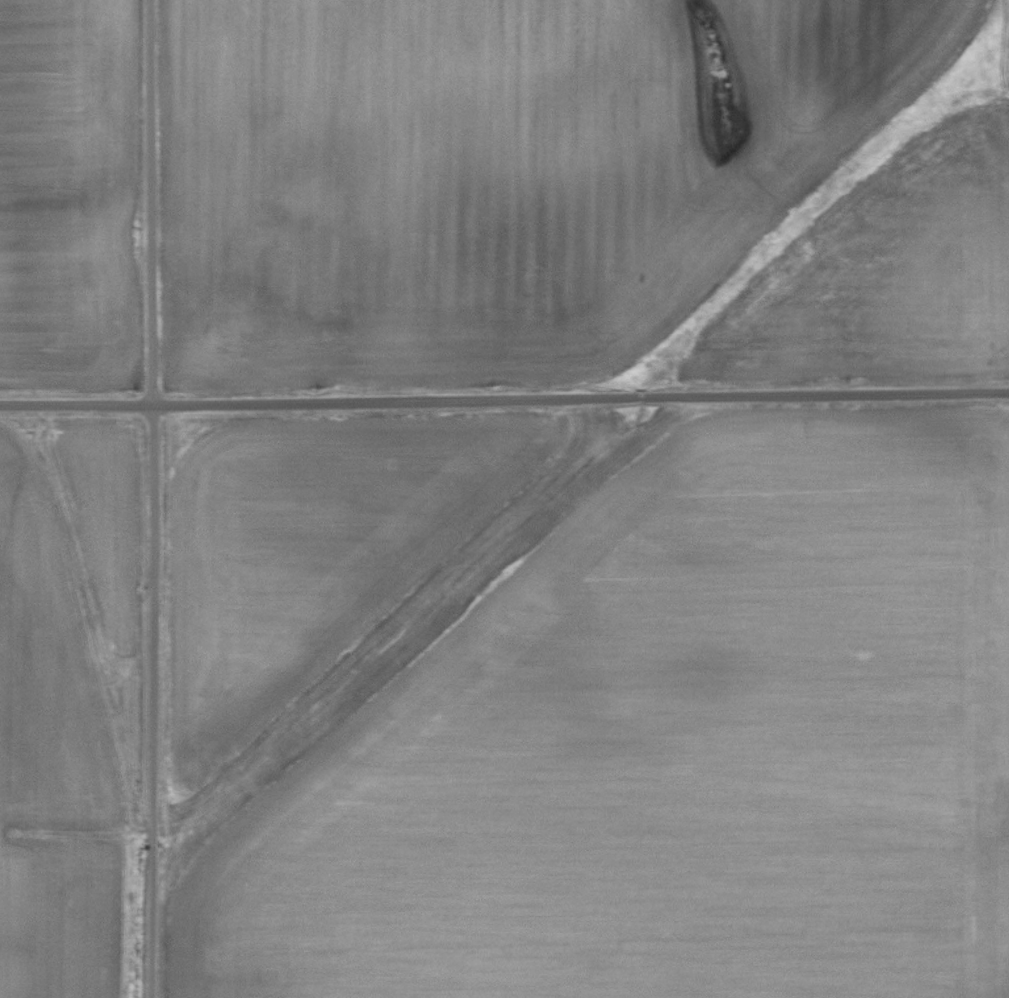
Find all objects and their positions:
road: (504, 397)
road: (156, 498)

